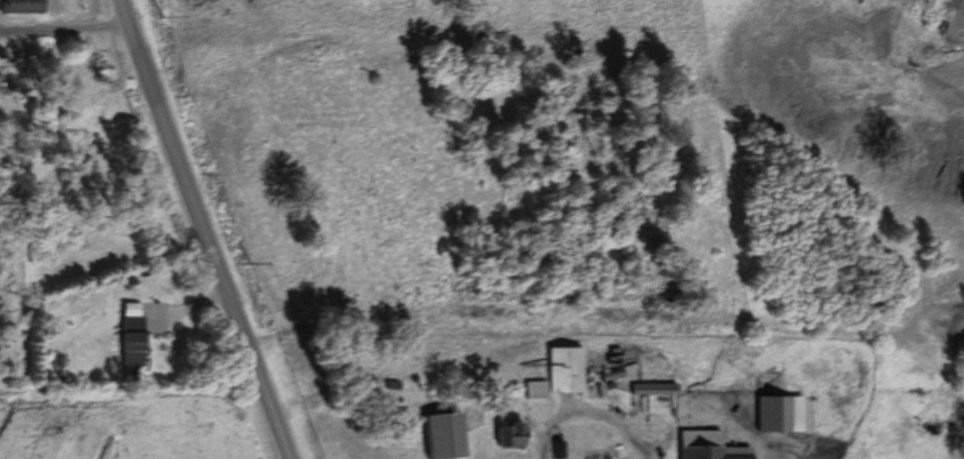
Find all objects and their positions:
building: (24, 7)
road: (202, 231)
building: (135, 336)
building: (571, 373)
building: (657, 389)
building: (538, 390)
building: (783, 415)
road: (590, 419)
building: (513, 437)
building: (712, 447)

